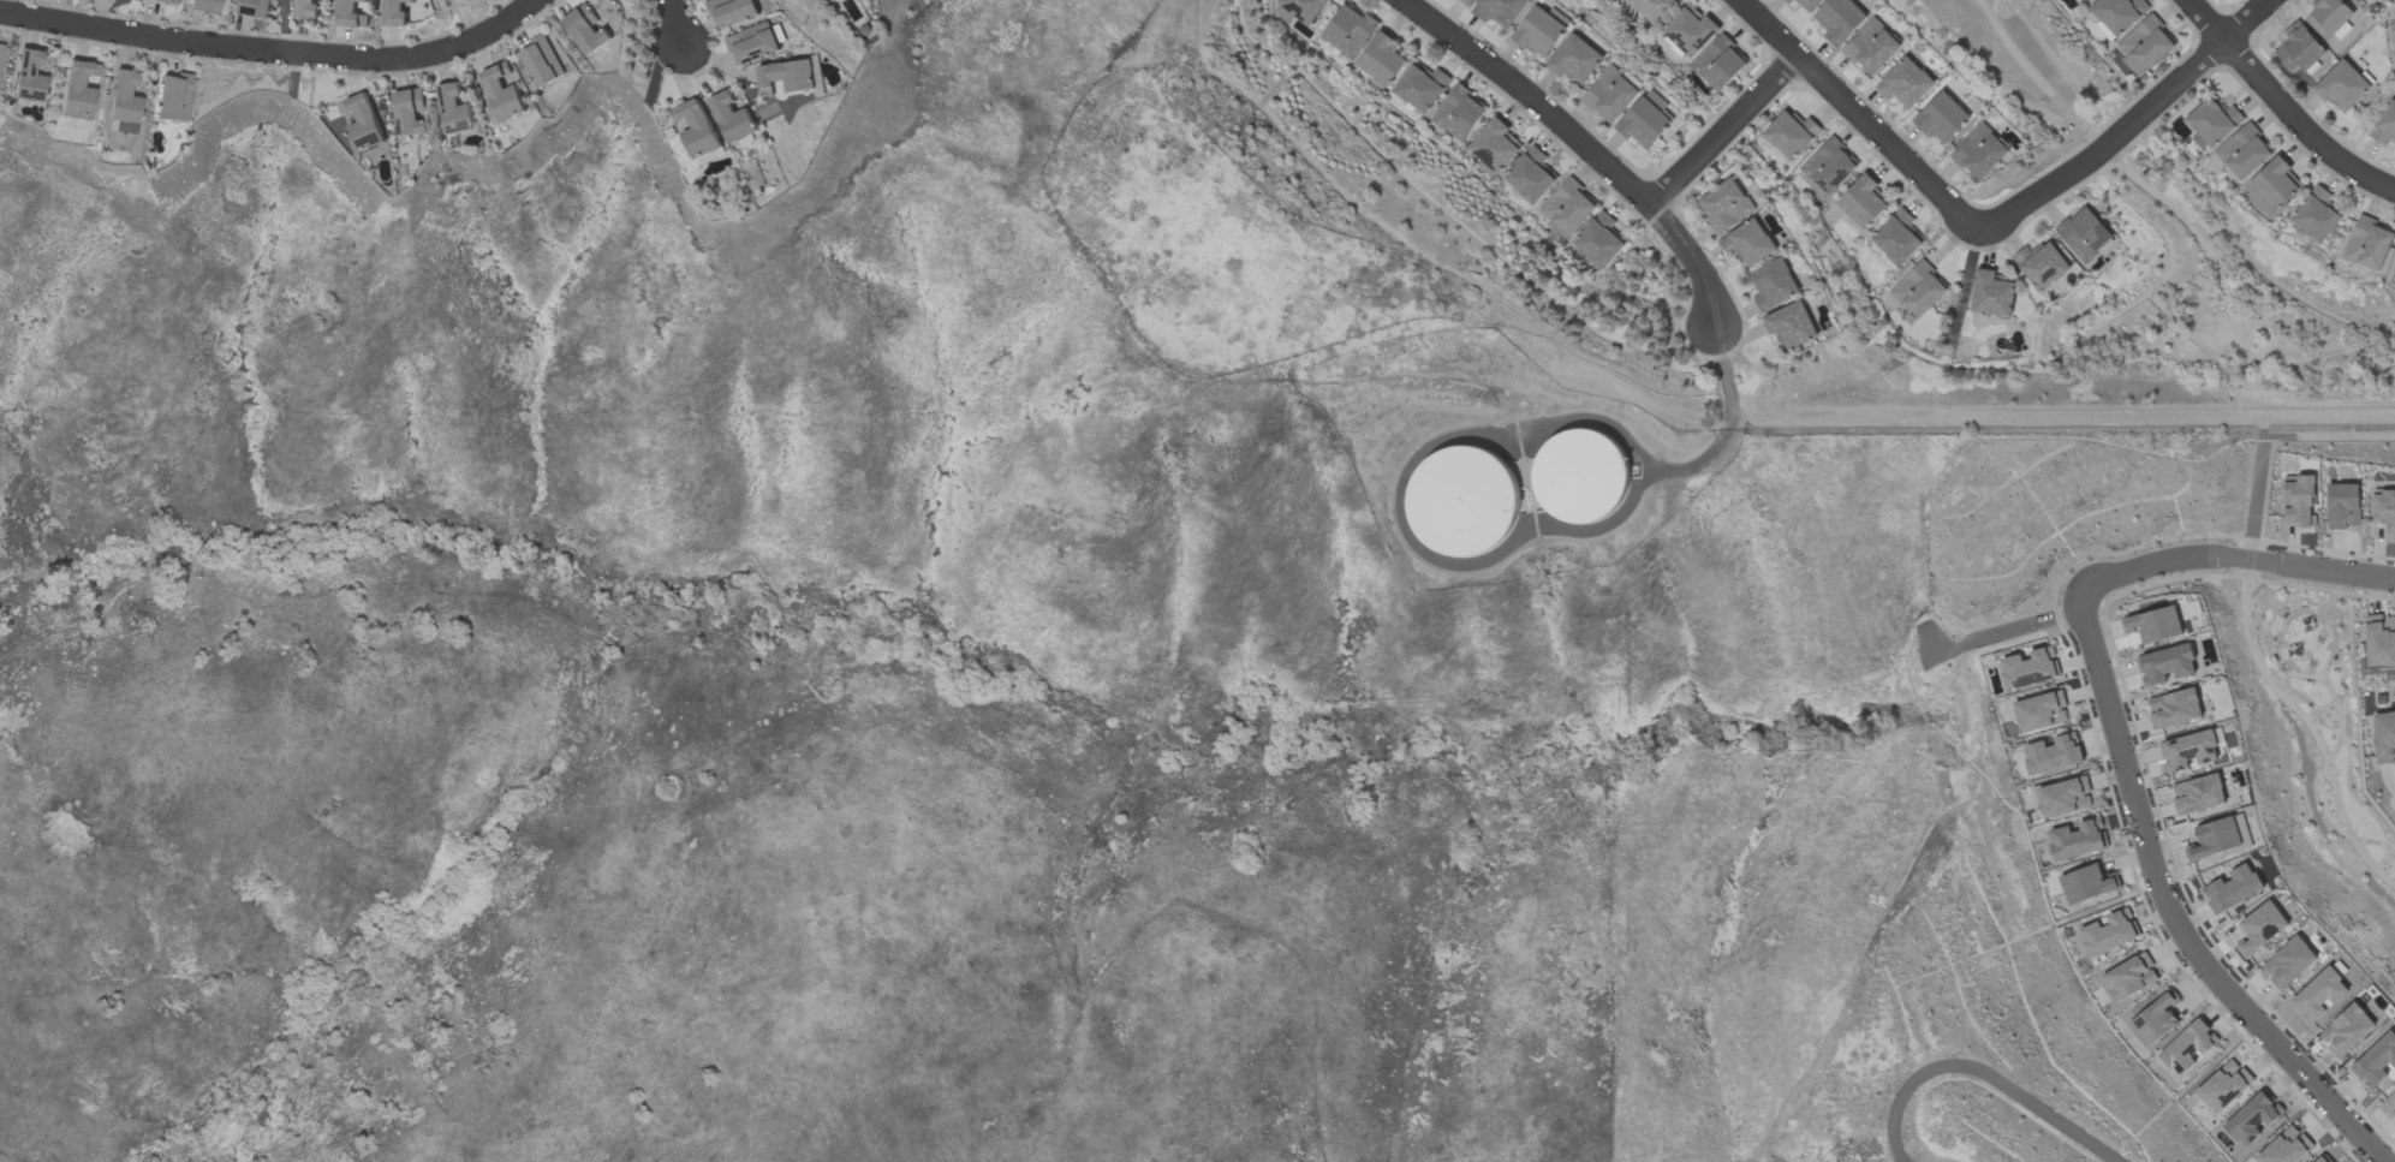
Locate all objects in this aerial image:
building: (157, 0)
building: (453, 0)
building: (469, 0)
building: (2085, 0)
building: (1787, 1)
building: (1466, 2)
building: (1809, 4)
building: (205, 6)
building: (248, 8)
building: (305, 8)
building: (1652, 8)
building: (1298, 10)
building: (732, 11)
building: (1499, 11)
building: (395, 12)
building: (351, 13)
building: (2117, 13)
building: (2329, 16)
building: (1839, 19)
road: (681, 24)
building: (588, 30)
building: (1348, 30)
building: (1539, 31)
building: (1690, 31)
building: (752, 43)
building: (2144, 44)
building: (1871, 47)
building: (2298, 48)
road: (275, 52)
building: (0, 53)
building: (1575, 59)
building: (543, 61)
building: (1380, 61)
building: (1718, 62)
building: (785, 76)
building: (28, 77)
building: (1905, 83)
building: (2341, 87)
building: (78, 90)
building: (505, 93)
building: (1610, 94)
building: (174, 97)
building: (124, 103)
road: (2283, 106)
building: (455, 109)
building: (411, 112)
building: (1458, 113)
building: (1941, 117)
building: (732, 118)
road: (1866, 118)
building: (1646, 119)
building: (2212, 121)
building: (363, 123)
road: (2134, 123)
building: (2385, 124)
building: (696, 127)
road: (1727, 131)
building: (1791, 135)
building: (1494, 145)
road: (1587, 145)
building: (2244, 151)
building: (1979, 153)
building: (1828, 166)
building: (1530, 177)
building: (2271, 186)
building: (1861, 202)
building: (1726, 205)
building: (1567, 207)
building: (2317, 217)
building: (2084, 233)
building: (1896, 238)
building: (1598, 240)
building: (1748, 242)
building: (2367, 243)
building: (2042, 264)
building: (1774, 284)
building: (1918, 288)
building: (1991, 293)
building: (1791, 326)
road: (2269, 437)
building: (1580, 475)
building: (1462, 501)
building: (2298, 501)
building: (2343, 506)
building: (2384, 512)
road: (2233, 559)
building: (2153, 625)
building: (2379, 639)
building: (2165, 665)
building: (2027, 668)
road: (836, 707)
building: (2173, 708)
building: (2040, 711)
building: (2384, 737)
building: (2188, 751)
building: (2054, 753)
building: (2197, 794)
building: (2063, 798)
building: (2215, 838)
building: (2075, 840)
building: (2086, 883)
building: (2233, 889)
road: (2168, 912)
building: (2260, 928)
building: (2107, 934)
building: (2288, 963)
building: (2127, 977)
building: (2318, 995)
building: (2153, 1020)
building: (2346, 1030)
building: (2187, 1048)
building: (2376, 1060)
building: (2222, 1086)
building: (2390, 1103)
building: (2252, 1119)
building: (2284, 1148)
building: (2319, 1160)

